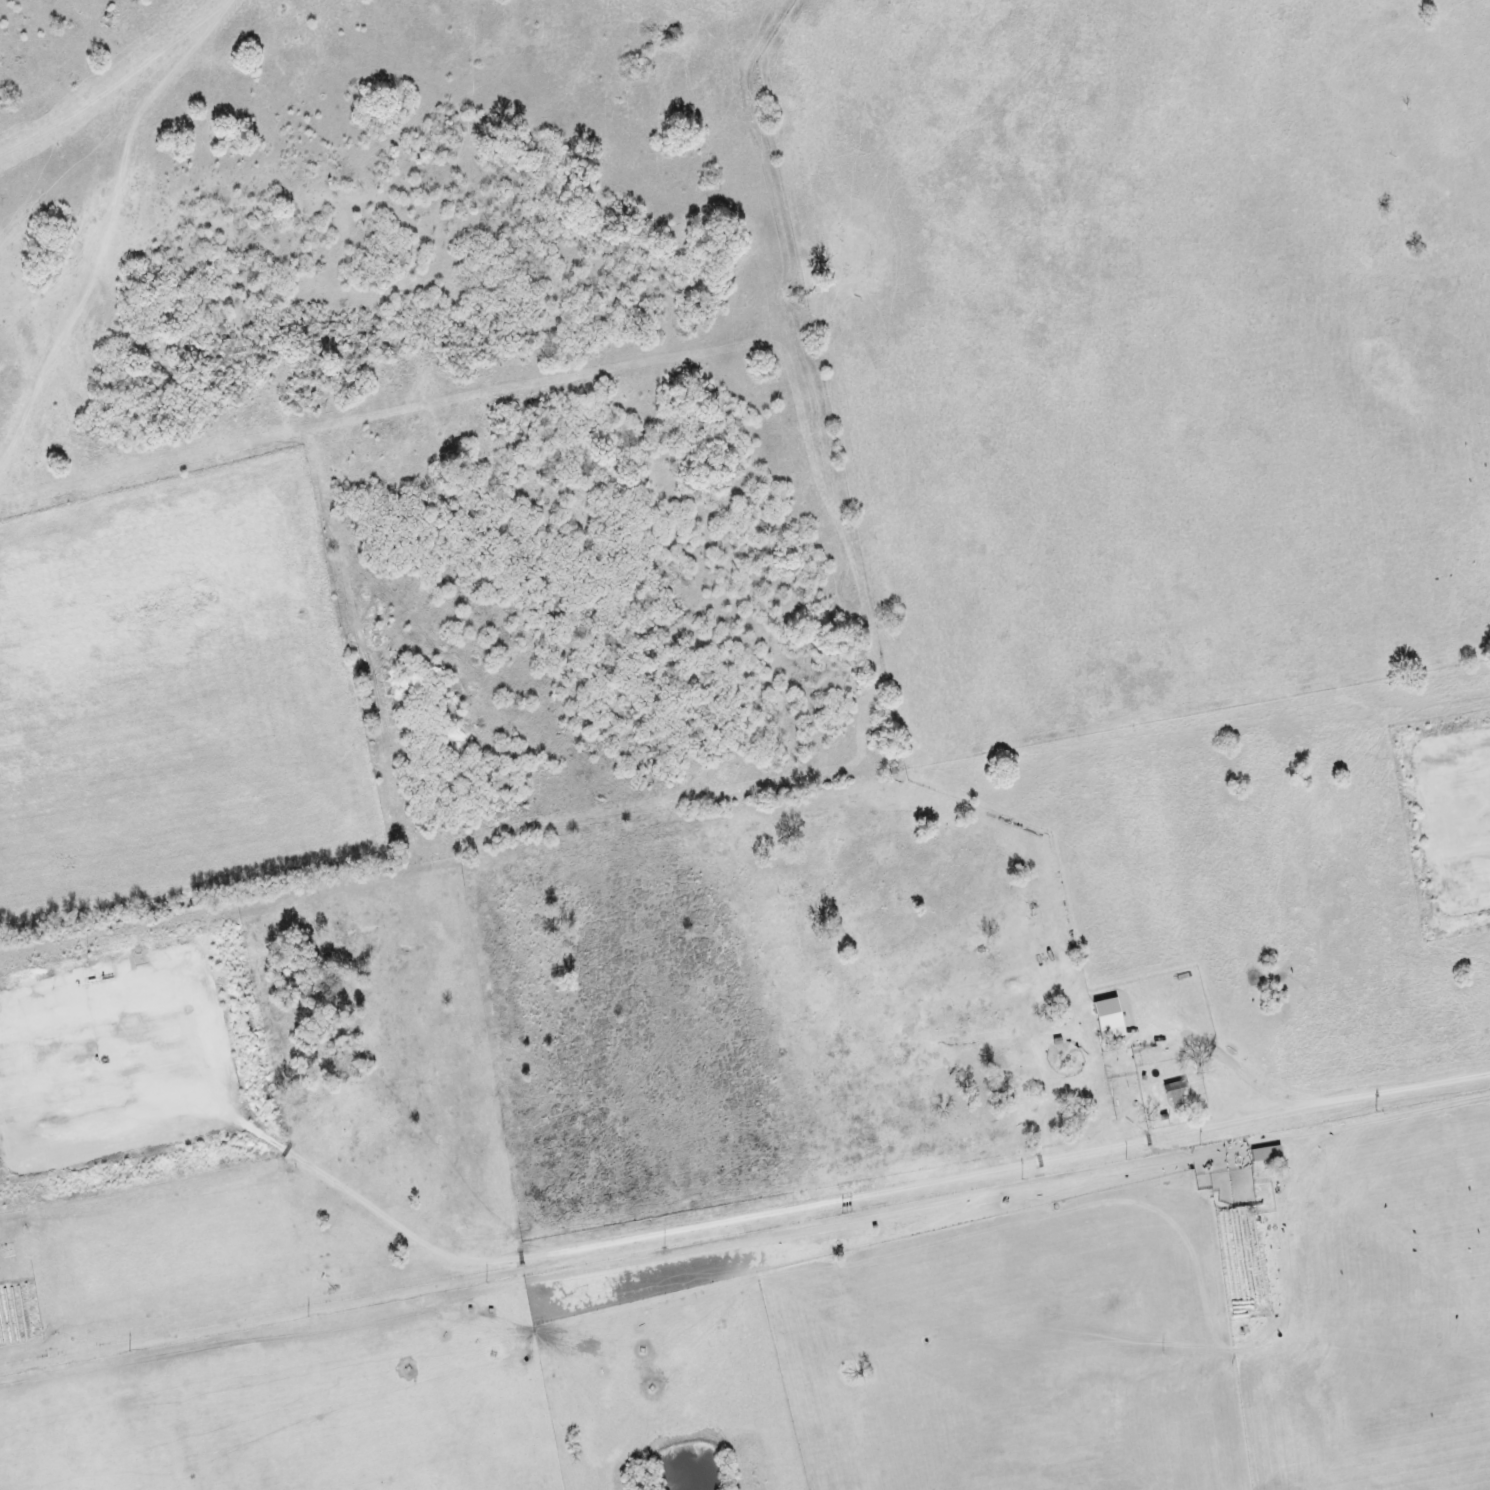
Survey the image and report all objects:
road: (102, 214)
building: (1106, 1019)
petroleum well: (111, 1062)
road: (1330, 1146)

